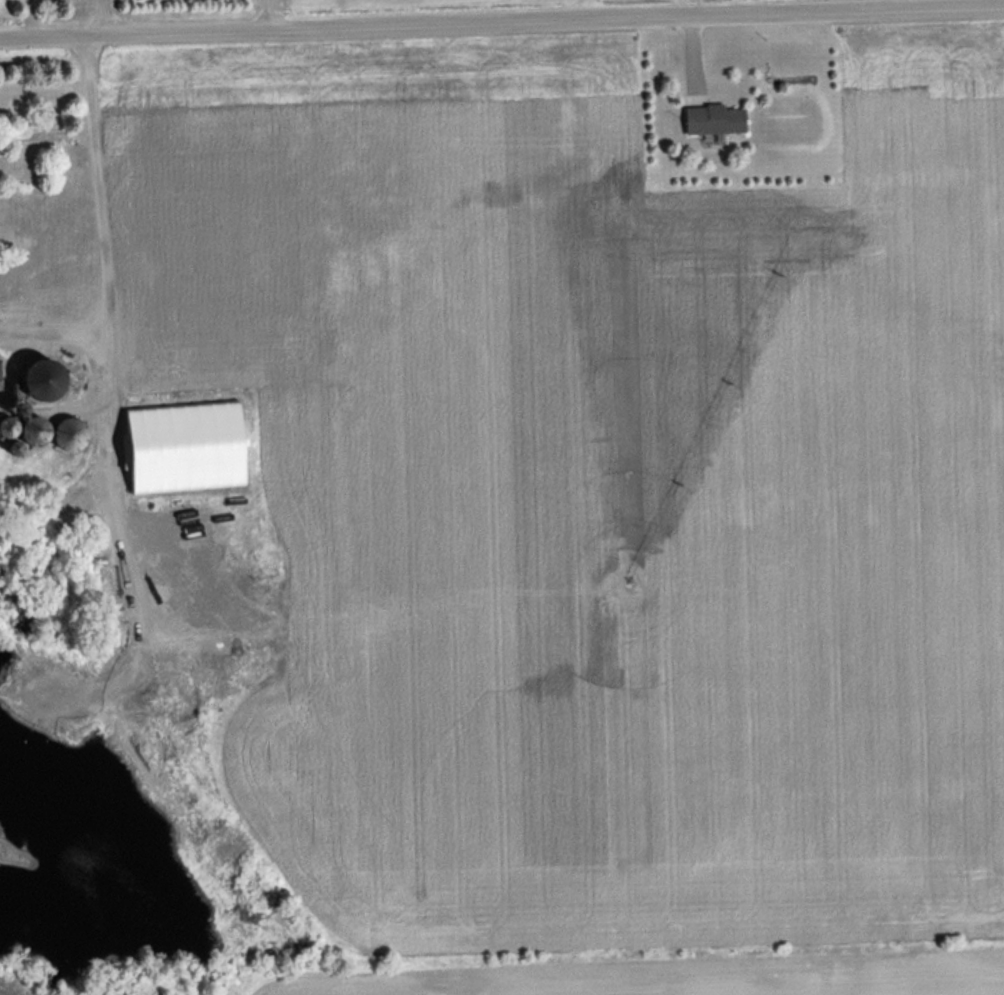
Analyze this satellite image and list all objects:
road: (501, 23)
building: (713, 118)
road: (105, 312)
building: (39, 377)
building: (6, 424)
building: (33, 429)
building: (70, 432)
building: (13, 445)
building: (184, 446)

